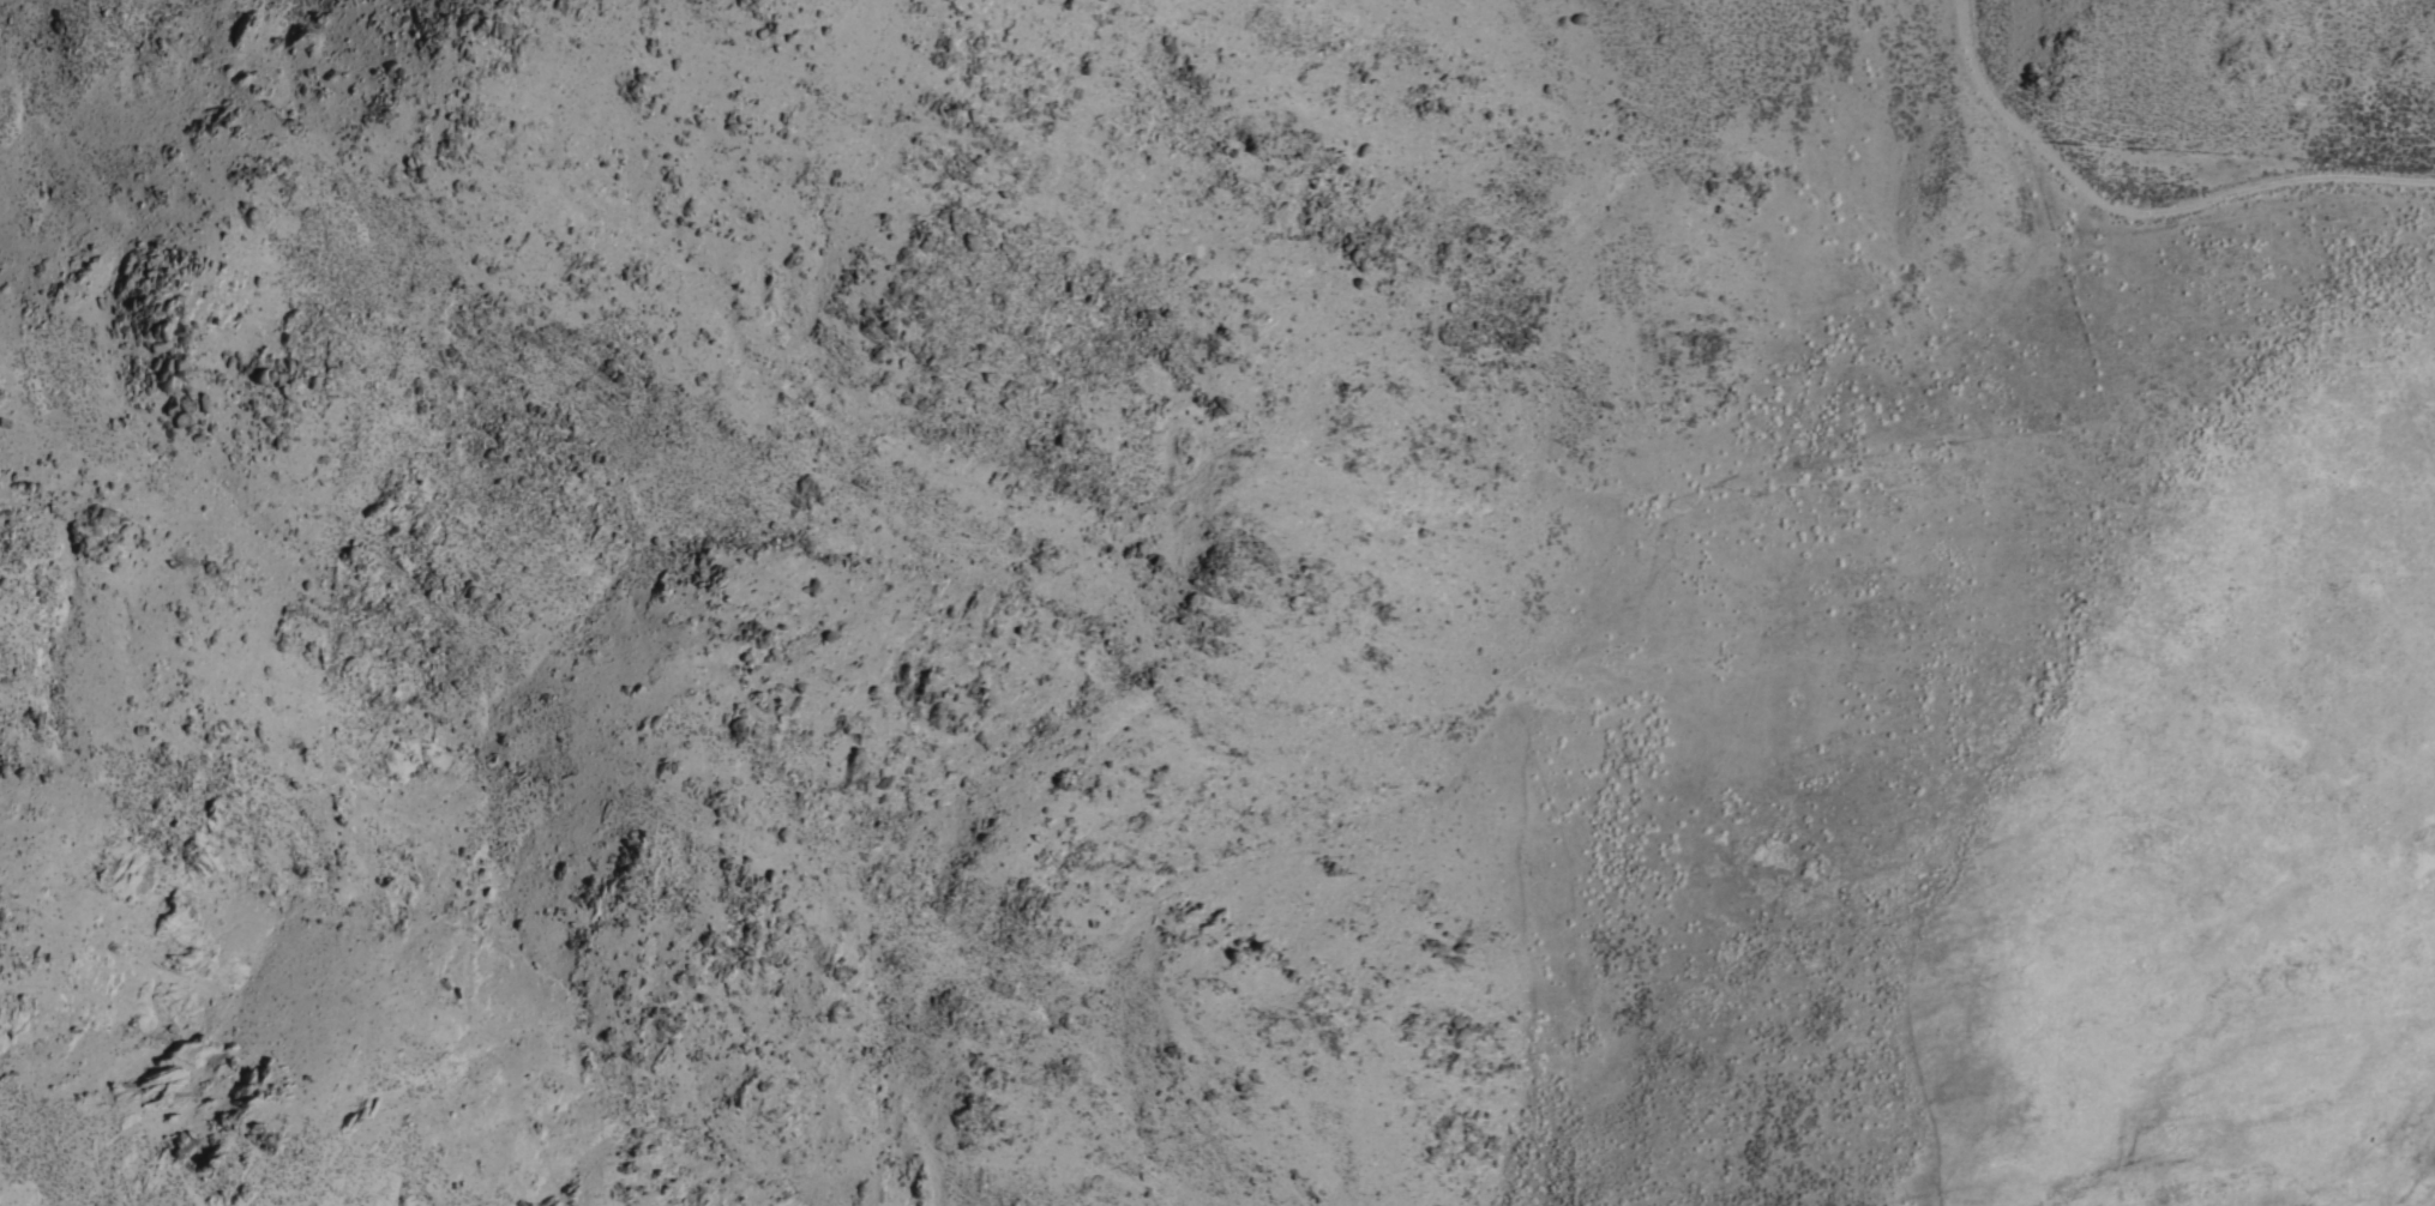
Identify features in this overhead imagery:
road: (2135, 212)

